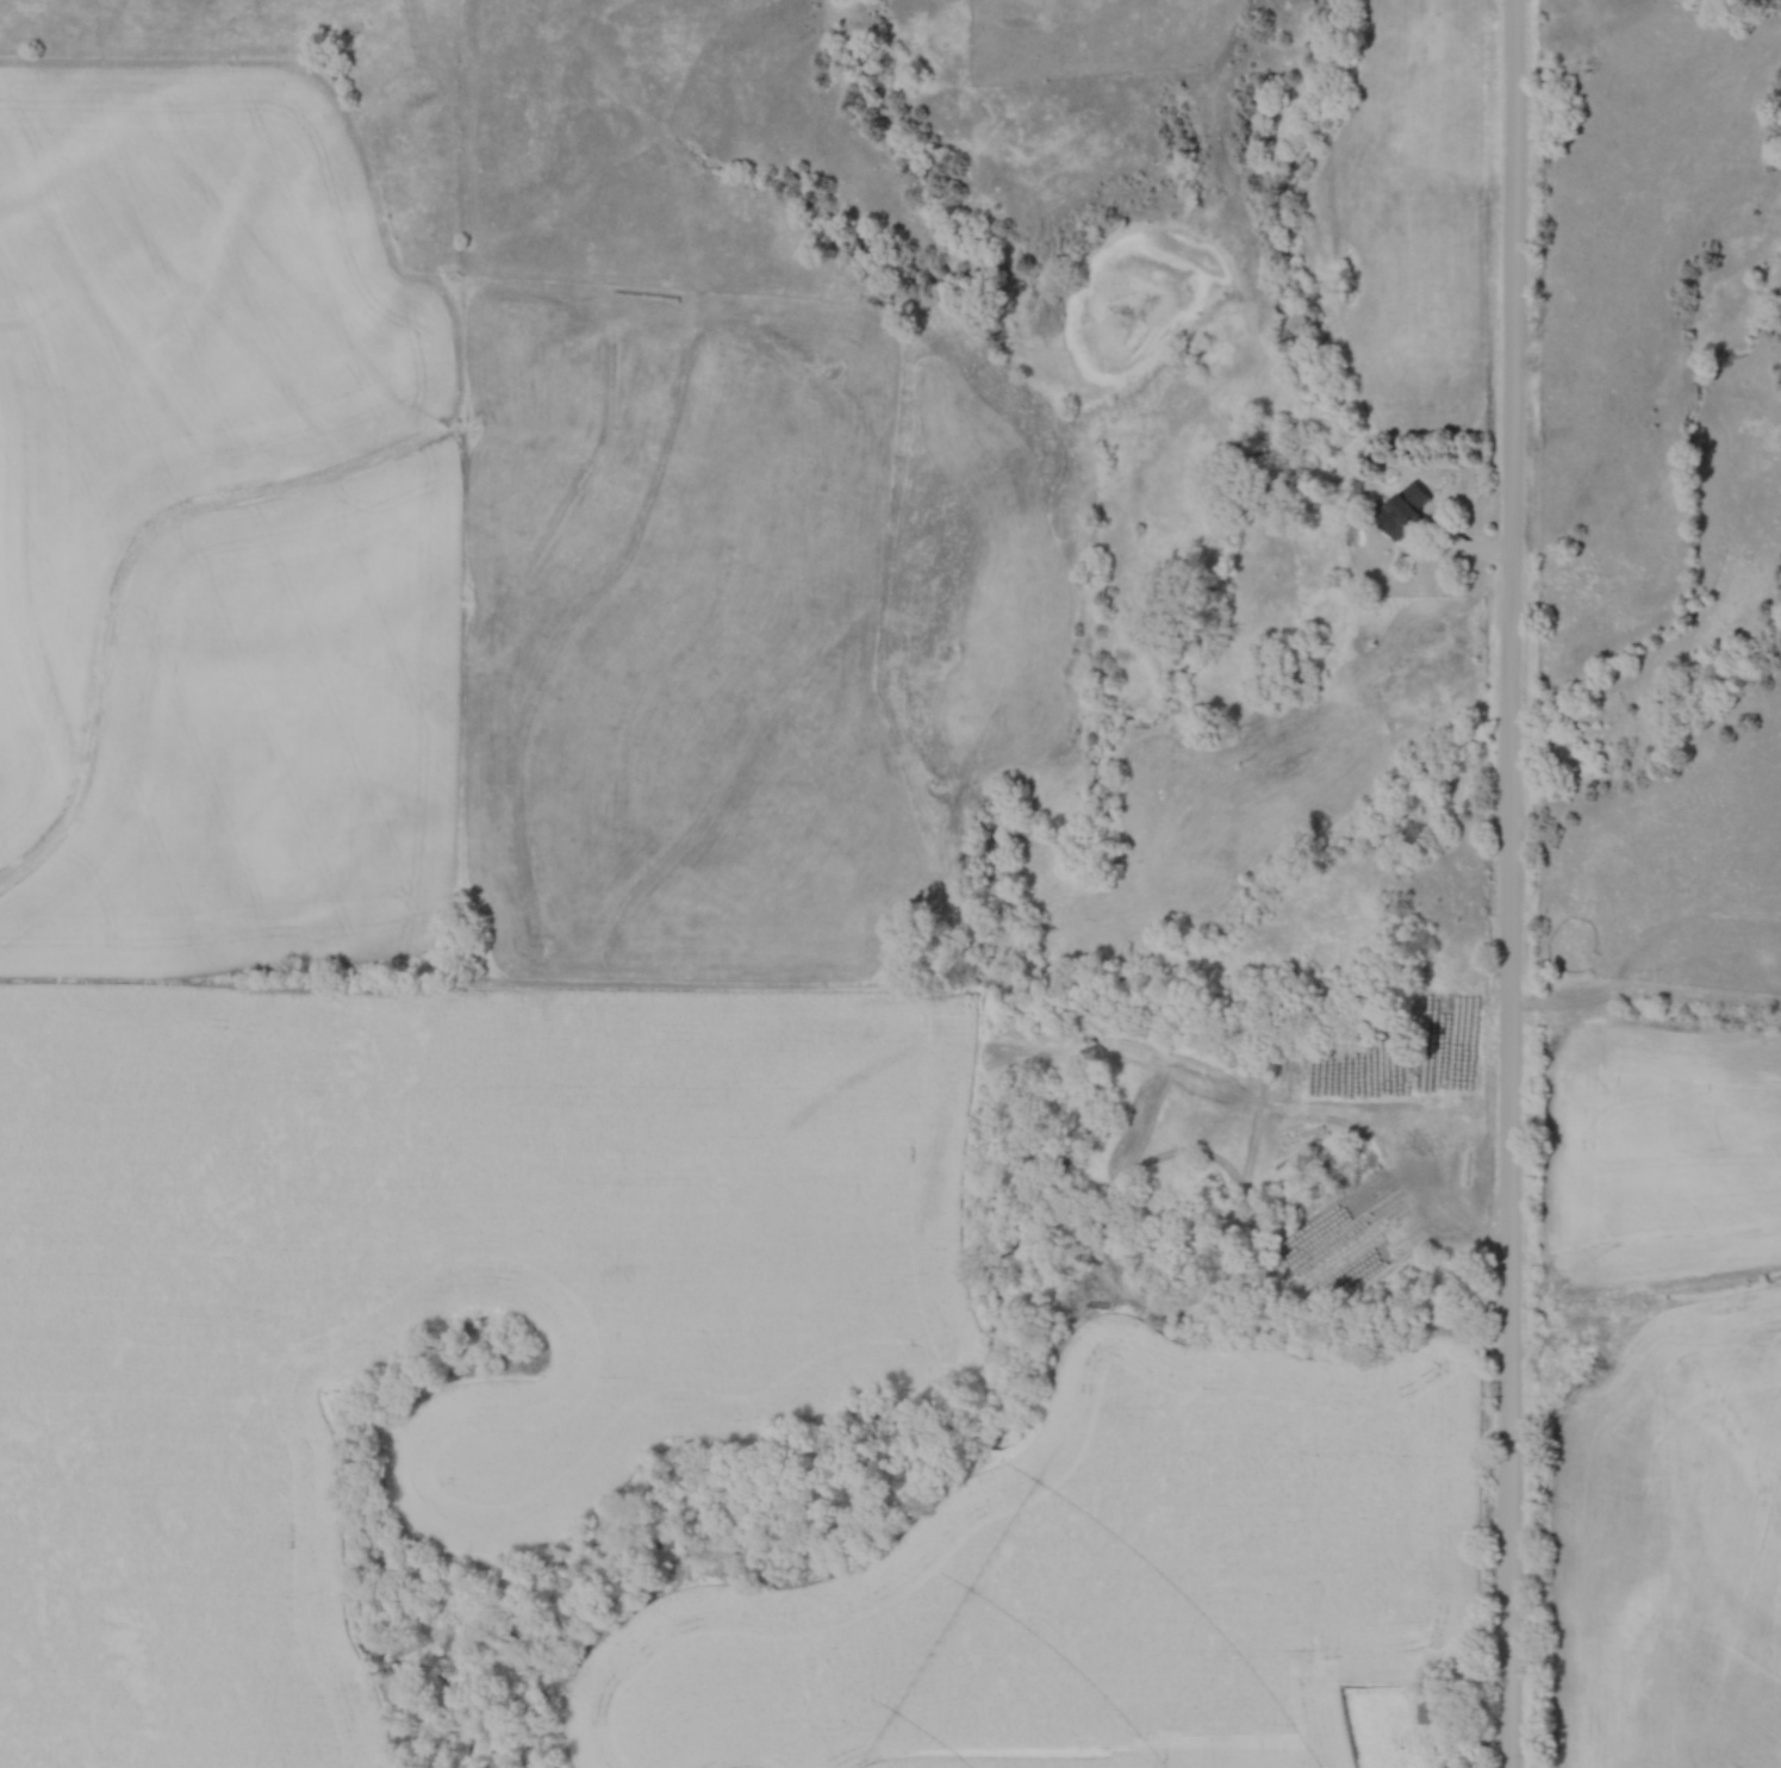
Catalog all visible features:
building: (1407, 510)
road: (1512, 884)
building: (1449, 1339)
building: (1427, 1712)

